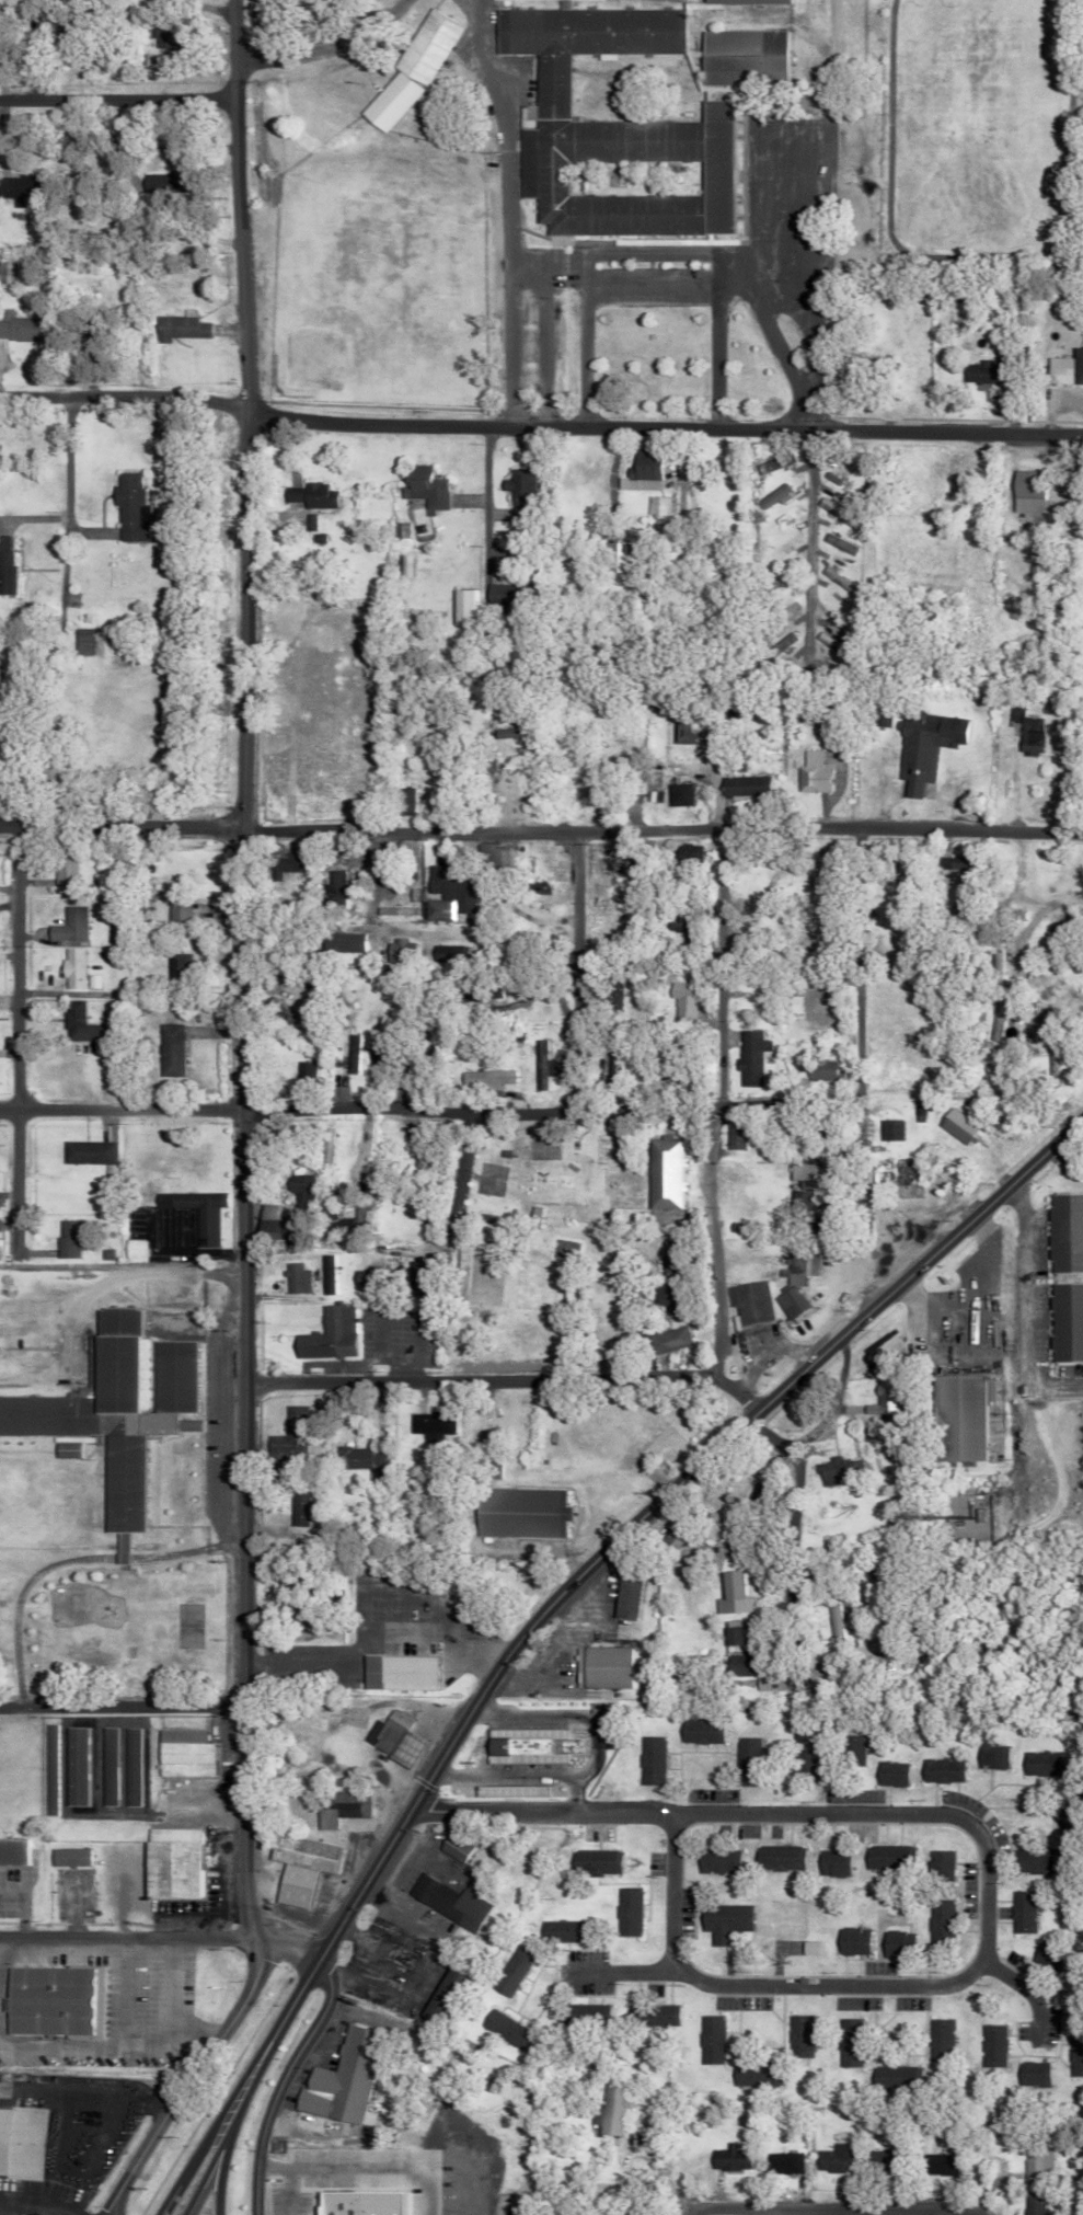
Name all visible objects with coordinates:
road: (323, 43)
building: (407, 72)
road: (119, 101)
building: (613, 131)
building: (16, 190)
road: (499, 209)
road: (656, 252)
building: (4, 271)
road: (807, 280)
road: (730, 284)
road: (646, 286)
building: (18, 328)
building: (177, 329)
road: (538, 333)
road: (712, 356)
building: (1064, 369)
building: (978, 372)
road: (540, 428)
building: (772, 463)
building: (638, 473)
building: (516, 485)
building: (419, 487)
road: (66, 492)
building: (1024, 492)
building: (308, 495)
building: (770, 497)
building: (656, 506)
building: (126, 508)
building: (307, 521)
building: (399, 530)
building: (836, 544)
road: (487, 549)
road: (806, 551)
building: (610, 558)
building: (4, 564)
building: (503, 595)
building: (461, 608)
building: (780, 612)
building: (80, 641)
building: (775, 644)
building: (493, 680)
building: (882, 716)
building: (1025, 730)
building: (511, 733)
building: (681, 733)
building: (922, 746)
building: (485, 760)
building: (809, 772)
building: (742, 785)
building: (677, 794)
building: (403, 801)
road: (120, 827)
road: (663, 829)
building: (687, 853)
building: (494, 857)
building: (949, 864)
building: (278, 865)
building: (608, 867)
building: (62, 869)
building: (539, 886)
building: (451, 887)
building: (334, 888)
building: (394, 910)
building: (436, 910)
building: (180, 911)
road: (370, 914)
building: (675, 920)
building: (68, 926)
building: (342, 942)
building: (399, 951)
building: (447, 953)
building: (71, 967)
building: (180, 967)
road: (241, 969)
road: (574, 972)
building: (91, 980)
building: (473, 995)
building: (612, 995)
building: (682, 1005)
building: (1029, 1010)
building: (276, 1011)
road: (854, 1014)
building: (994, 1018)
building: (79, 1023)
road: (16, 1046)
building: (169, 1049)
building: (352, 1053)
building: (748, 1056)
building: (539, 1064)
building: (610, 1066)
building: (303, 1070)
building: (483, 1079)
building: (679, 1080)
road: (119, 1110)
road: (548, 1111)
building: (956, 1127)
building: (888, 1129)
road: (713, 1136)
building: (733, 1136)
building: (323, 1145)
building: (85, 1152)
road: (437, 1159)
building: (661, 1173)
building: (798, 1174)
building: (296, 1190)
building: (793, 1204)
road: (384, 1209)
building: (194, 1213)
building: (335, 1224)
road: (438, 1224)
building: (264, 1225)
building: (1065, 1232)
building: (65, 1238)
building: (129, 1248)
building: (799, 1263)
road: (125, 1273)
building: (325, 1274)
building: (356, 1277)
building: (291, 1278)
building: (663, 1298)
road: (976, 1300)
building: (788, 1302)
building: (749, 1304)
road: (1029, 1308)
building: (1067, 1321)
building: (325, 1335)
building: (666, 1340)
road: (471, 1379)
building: (882, 1398)
building: (111, 1412)
road: (206, 1416)
building: (957, 1418)
building: (429, 1424)
road: (775, 1428)
building: (287, 1435)
building: (357, 1457)
building: (834, 1470)
road: (792, 1495)
building: (295, 1506)
building: (516, 1513)
road: (595, 1551)
road: (65, 1558)
building: (287, 1586)
building: (728, 1595)
building: (622, 1598)
building: (829, 1617)
road: (369, 1636)
building: (726, 1637)
road: (545, 1651)
building: (735, 1664)
building: (597, 1667)
building: (394, 1673)
building: (758, 1684)
road: (119, 1707)
building: (696, 1731)
building: (390, 1738)
building: (518, 1746)
building: (849, 1751)
building: (180, 1754)
building: (798, 1756)
building: (992, 1757)
building: (1044, 1758)
building: (647, 1760)
building: (742, 1761)
building: (105, 1766)
road: (586, 1766)
building: (128, 1767)
building: (938, 1770)
building: (888, 1774)
road: (568, 1797)
building: (337, 1807)
road: (980, 1844)
building: (450, 1848)
building: (11, 1851)
building: (65, 1857)
building: (887, 1857)
building: (776, 1858)
building: (1034, 1860)
building: (591, 1861)
building: (714, 1861)
building: (831, 1862)
building: (168, 1863)
building: (938, 1866)
building: (298, 1867)
building: (445, 1902)
building: (624, 1912)
building: (1023, 1912)
building: (722, 1923)
building: (941, 1924)
building: (563, 1931)
road: (159, 1937)
building: (852, 1941)
building: (898, 1944)
building: (809, 1948)
building: (1048, 1956)
road: (619, 1969)
building: (509, 1971)
road: (1025, 1987)
building: (48, 2000)
road: (166, 2005)
building: (585, 2012)
building: (650, 2016)
road: (118, 2022)
building: (504, 2029)
building: (799, 2036)
building: (710, 2040)
building: (940, 2040)
building: (849, 2042)
road: (59, 2044)
building: (992, 2046)
building: (1075, 2056)
building: (907, 2073)
building: (754, 2074)
building: (1033, 2075)
road: (192, 2078)
road: (279, 2081)
building: (336, 2084)
building: (610, 2107)
building: (19, 2139)
building: (429, 2145)
road: (222, 2153)
road: (201, 2154)
building: (728, 2158)
building: (833, 2159)
building: (783, 2162)
building: (937, 2162)
building: (1038, 2162)
road: (304, 2166)
building: (1033, 2203)
road: (837, 2208)
road: (691, 2212)
building: (596, 2214)
road: (980, 2214)

